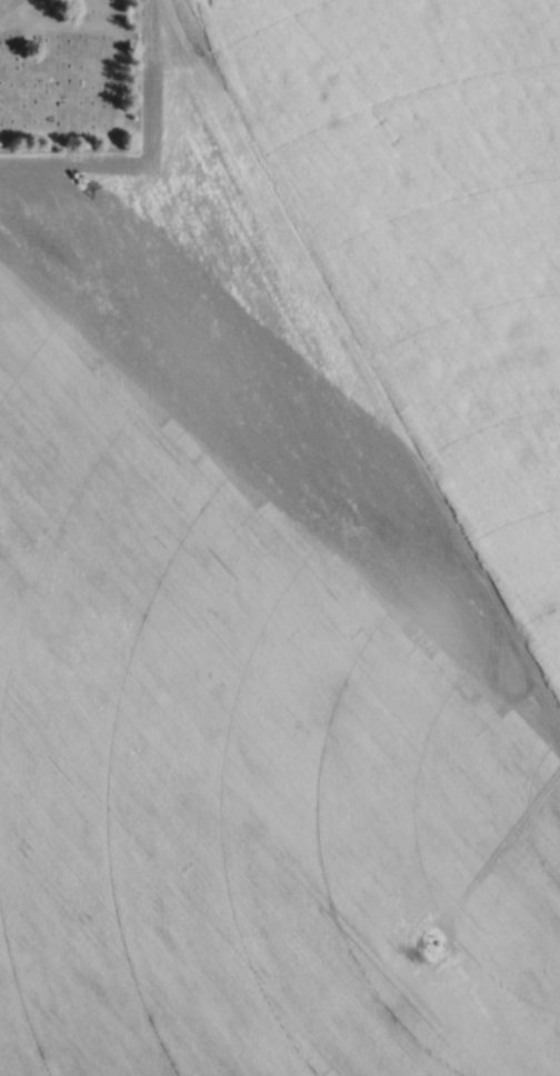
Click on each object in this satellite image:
road: (11, 9)

